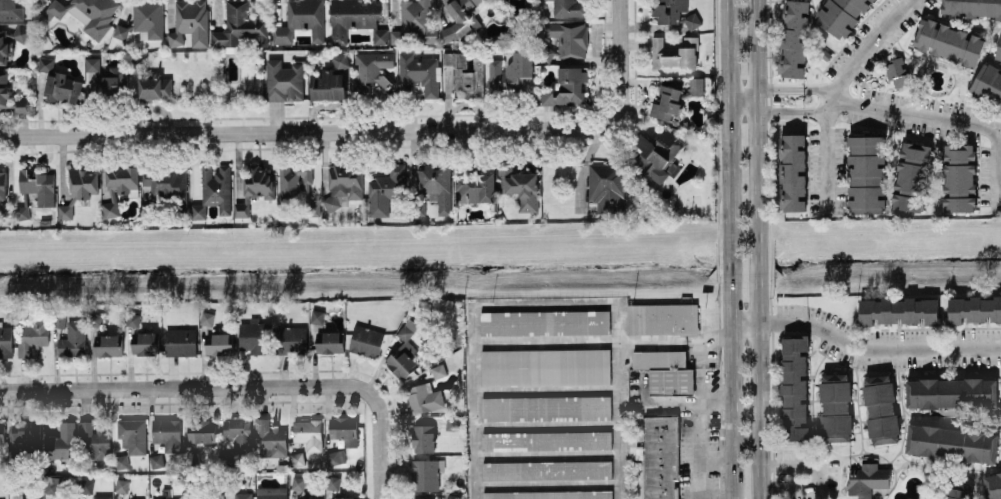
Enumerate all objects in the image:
building: (971, 7)
building: (568, 8)
building: (12, 9)
building: (668, 10)
building: (87, 13)
building: (841, 15)
building: (148, 17)
building: (418, 18)
building: (460, 18)
building: (356, 19)
building: (692, 20)
building: (301, 21)
building: (190, 22)
building: (241, 25)
building: (121, 31)
building: (20, 33)
building: (568, 37)
building: (794, 38)
building: (948, 41)
building: (4, 46)
building: (998, 51)
building: (674, 52)
road: (625, 58)
building: (340, 60)
building: (46, 64)
building: (138, 65)
building: (371, 69)
building: (898, 70)
building: (511, 71)
building: (418, 72)
building: (465, 73)
building: (107, 77)
building: (284, 80)
building: (4, 82)
building: (987, 84)
building: (327, 85)
building: (696, 85)
building: (568, 86)
road: (777, 86)
building: (61, 87)
building: (155, 87)
road: (833, 91)
road: (817, 92)
road: (742, 100)
building: (666, 102)
road: (817, 104)
road: (779, 110)
road: (946, 118)
road: (309, 130)
building: (657, 154)
building: (793, 170)
building: (866, 172)
building: (911, 175)
building: (959, 177)
building: (258, 181)
building: (2, 183)
building: (167, 183)
building: (37, 185)
building: (342, 185)
building: (435, 185)
building: (118, 186)
building: (288, 186)
building: (475, 186)
building: (607, 186)
building: (520, 187)
building: (79, 189)
building: (383, 189)
building: (214, 190)
building: (1, 204)
building: (241, 208)
building: (21, 212)
road: (728, 249)
road: (759, 249)
road: (549, 303)
building: (974, 308)
building: (898, 310)
building: (317, 315)
building: (207, 317)
building: (96, 318)
building: (132, 318)
building: (662, 318)
building: (58, 320)
building: (544, 322)
road: (744, 322)
building: (252, 334)
building: (33, 336)
building: (5, 339)
building: (73, 339)
building: (291, 339)
building: (366, 340)
building: (180, 341)
building: (329, 341)
building: (145, 342)
building: (218, 342)
building: (108, 344)
road: (877, 344)
road: (682, 345)
building: (403, 351)
building: (545, 366)
building: (665, 370)
road: (184, 386)
building: (794, 387)
building: (951, 392)
building: (424, 397)
building: (835, 406)
building: (545, 407)
building: (880, 408)
building: (344, 429)
building: (201, 430)
building: (238, 430)
building: (1, 432)
building: (167, 432)
building: (308, 433)
building: (132, 434)
building: (26, 435)
road: (698, 436)
building: (270, 437)
building: (423, 437)
building: (546, 439)
building: (61, 441)
building: (94, 441)
building: (951, 442)
building: (334, 443)
road: (378, 443)
building: (660, 456)
building: (335, 457)
building: (155, 460)
road: (714, 460)
building: (120, 461)
building: (546, 469)
building: (426, 473)
road: (819, 478)
building: (867, 479)
building: (333, 481)
building: (298, 482)
building: (121, 484)
building: (86, 485)
building: (992, 485)
building: (954, 490)
building: (271, 492)
building: (549, 494)
building: (243, 495)
building: (102, 496)
building: (343, 497)
building: (167, 498)
building: (309, 498)
building: (423, 498)

